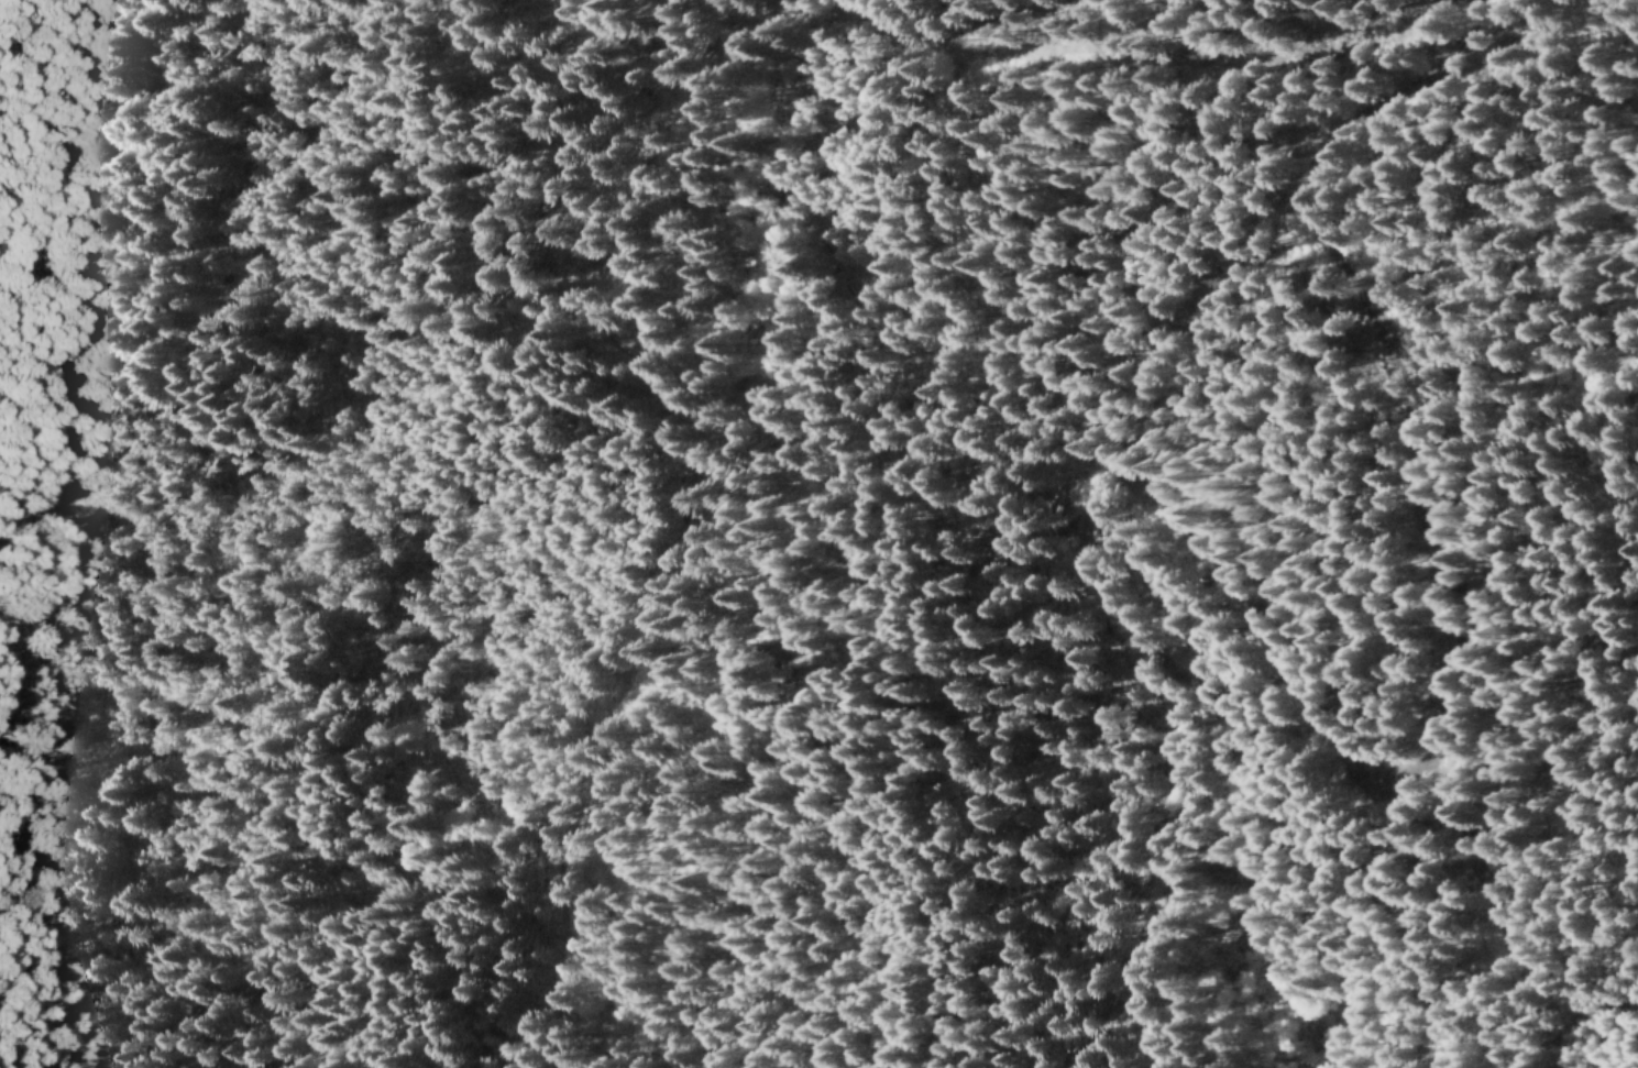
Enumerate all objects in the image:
road: (157, 806)

